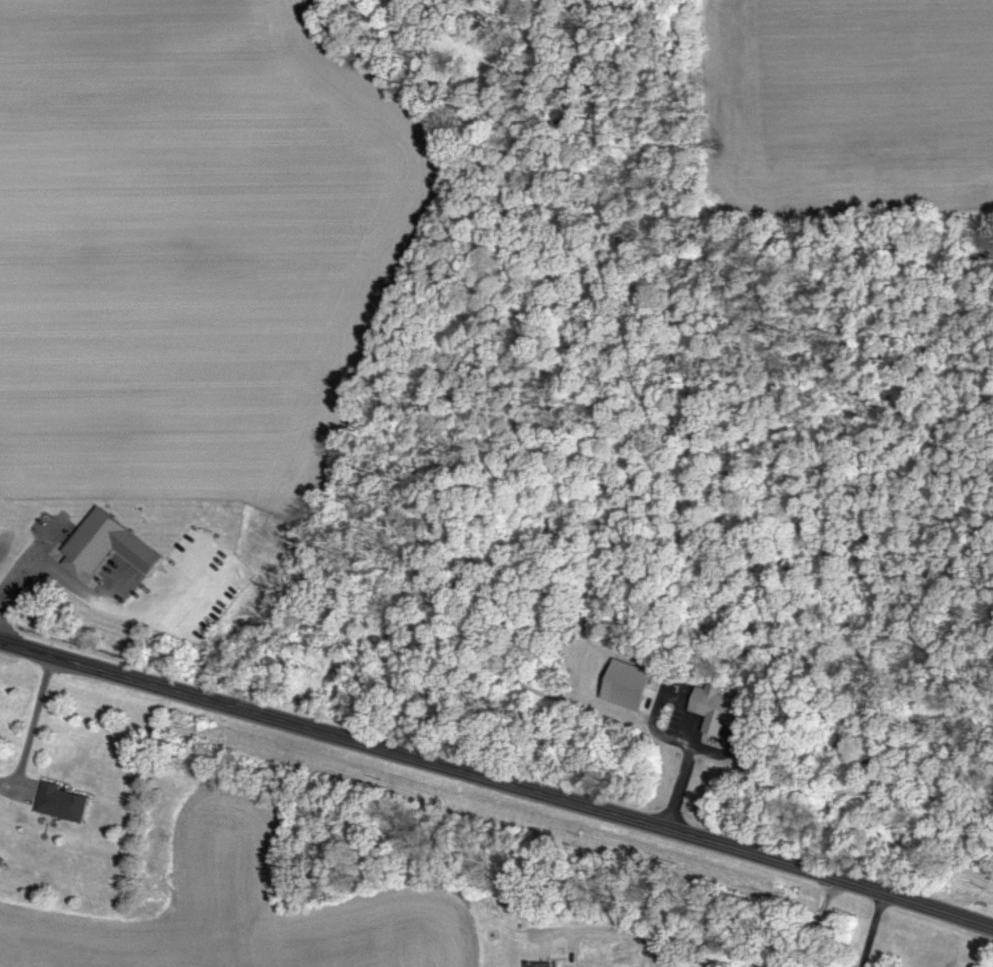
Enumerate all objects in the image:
building: (108, 546)
road: (53, 572)
building: (714, 711)
road: (34, 725)
road: (681, 775)
road: (498, 781)
building: (63, 804)
road: (867, 929)
road: (706, 936)
building: (543, 965)

